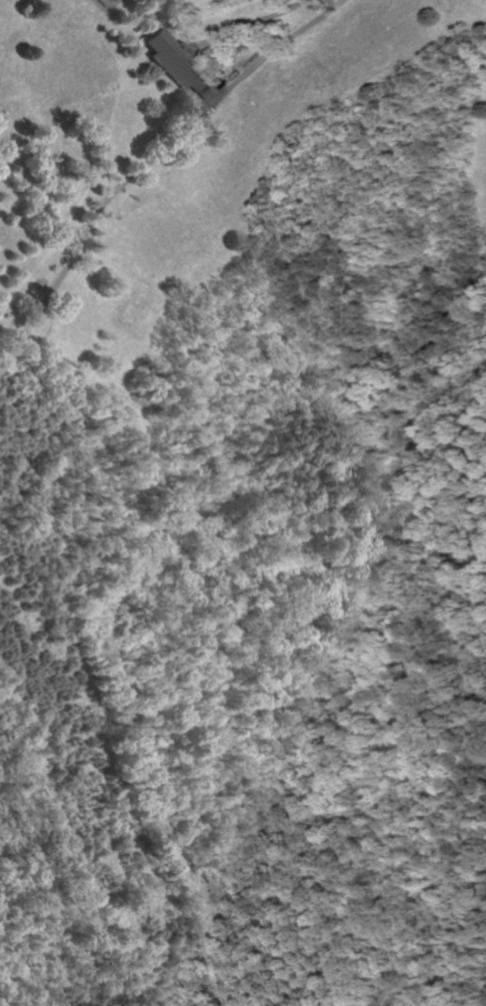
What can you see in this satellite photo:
road: (263, 60)
building: (178, 68)
road: (88, 232)

